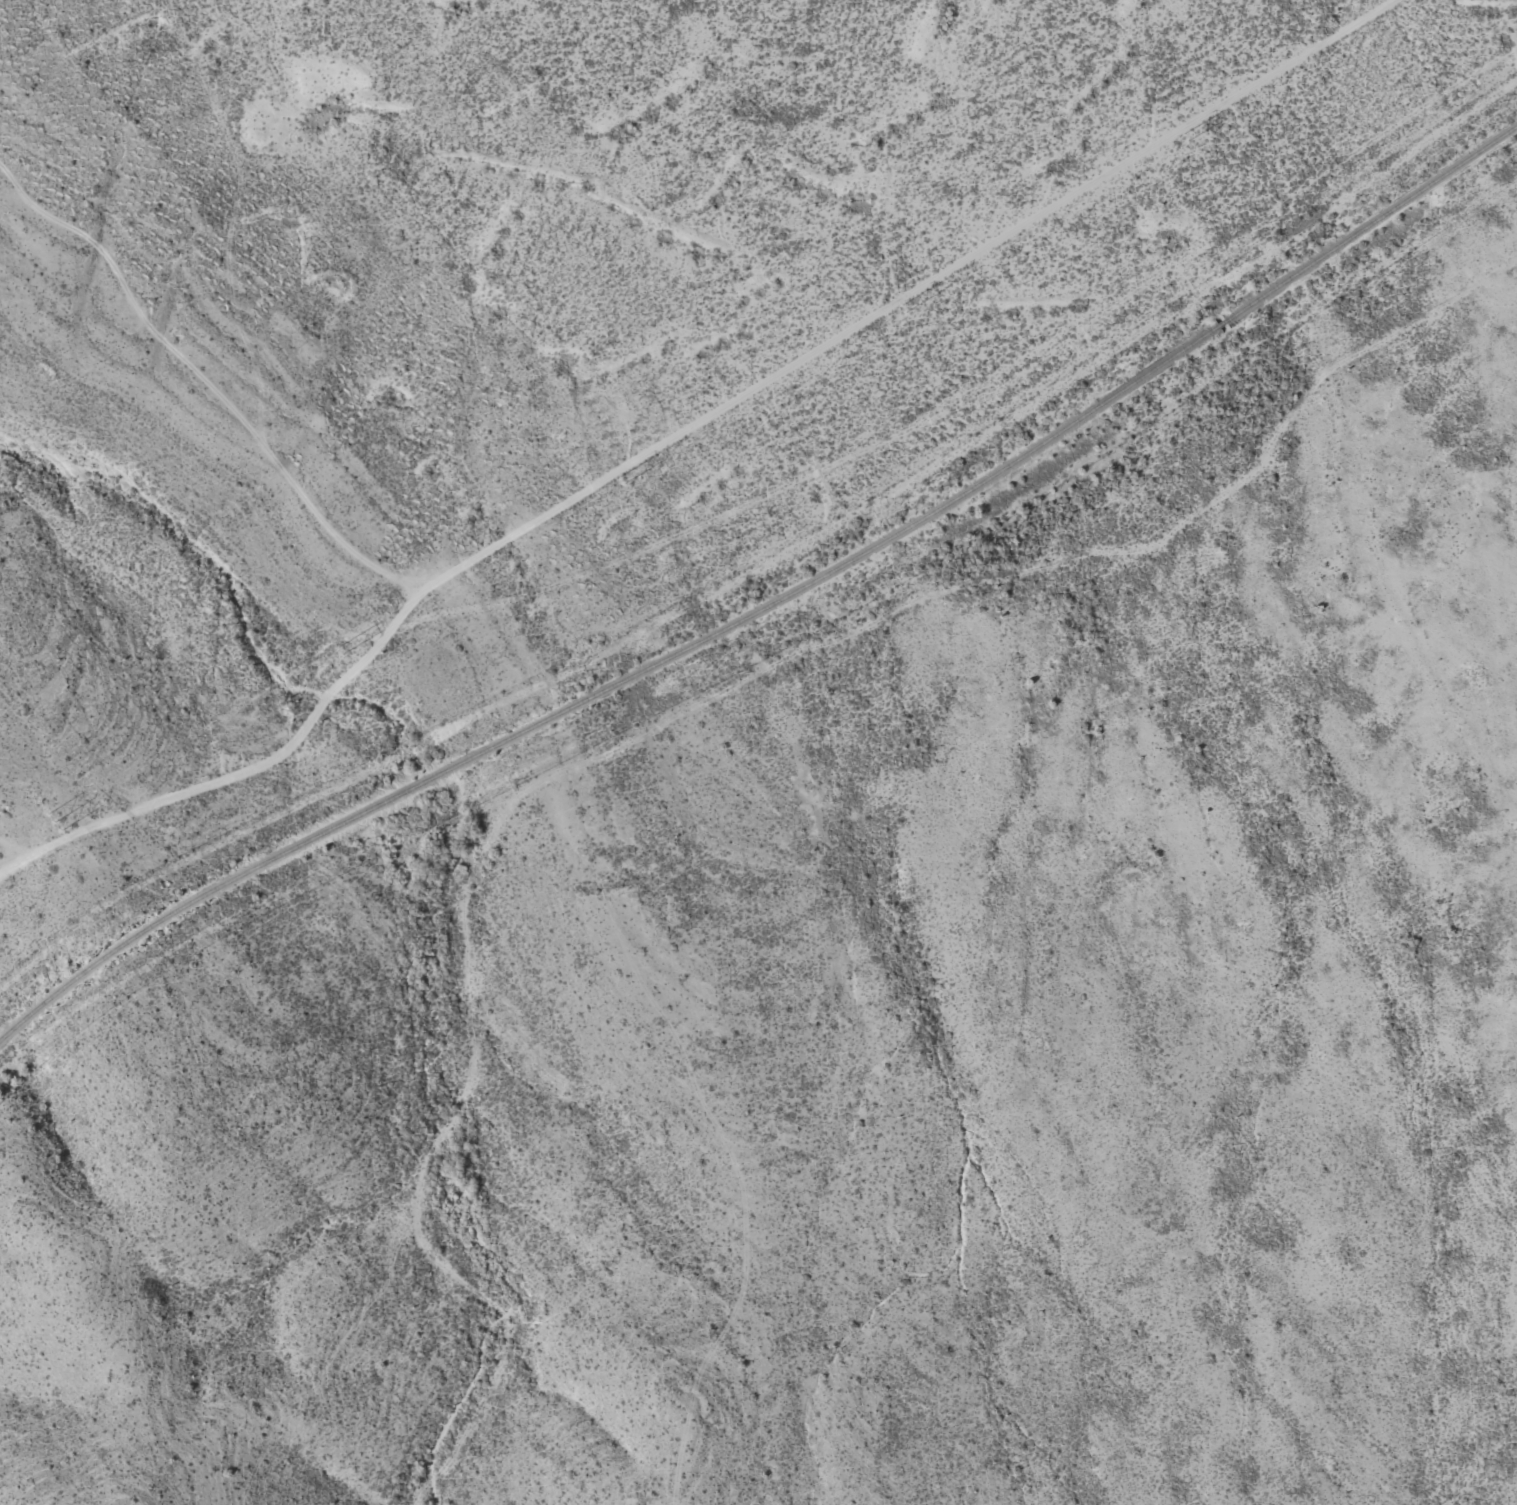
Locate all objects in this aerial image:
power tower: (1185, 137)
power tower: (902, 309)
power tower: (621, 479)
road: (764, 499)
railway: (770, 604)
power tower: (339, 650)
road: (722, 737)
power tower: (54, 821)

